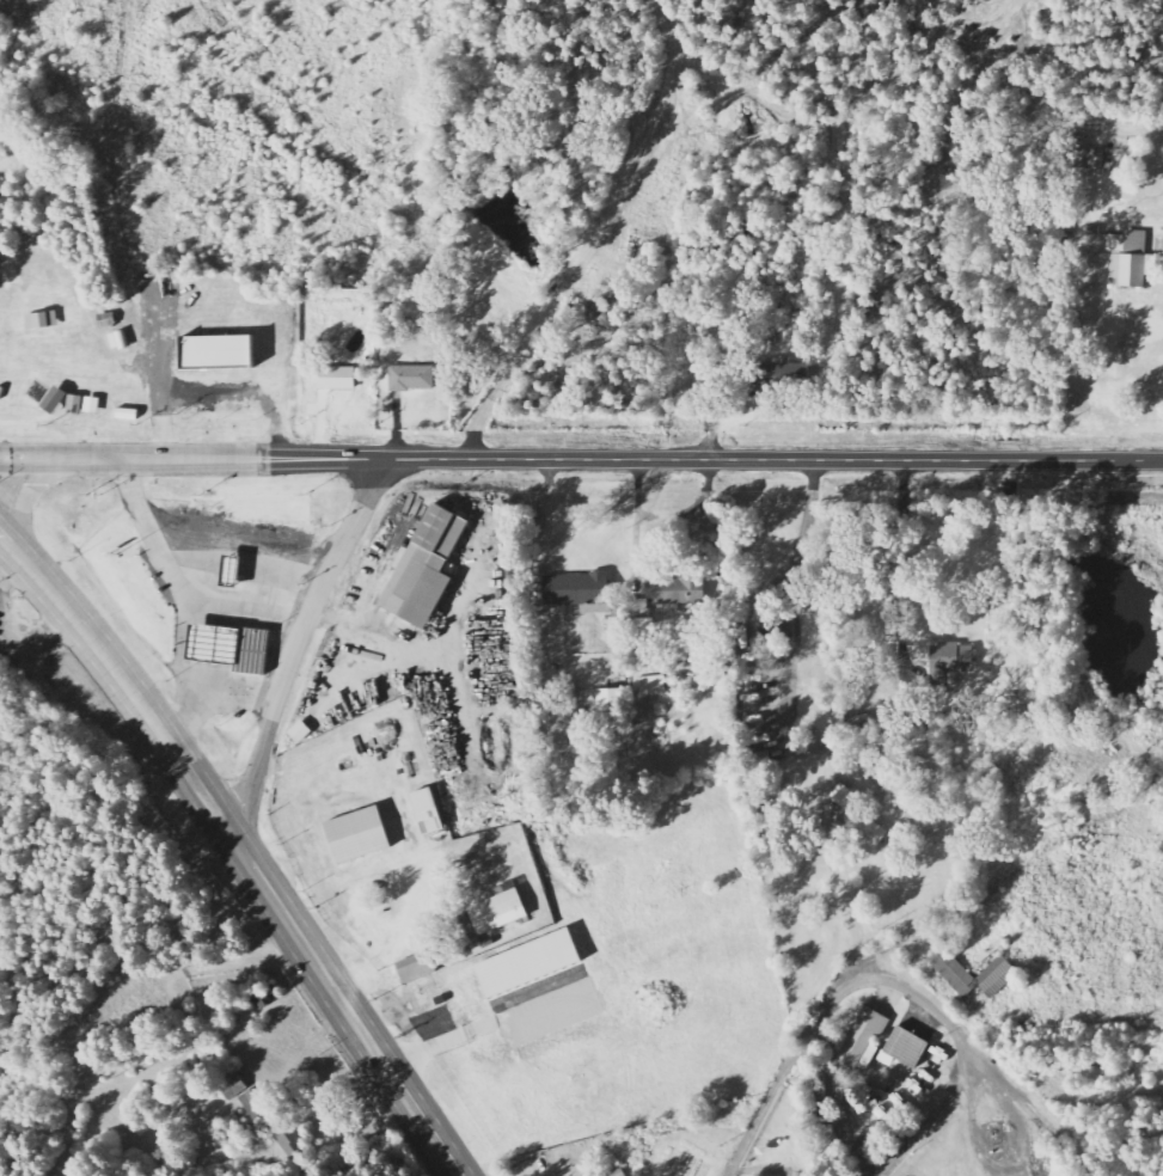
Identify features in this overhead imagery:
building: (1092, 159)
road: (598, 240)
building: (1126, 257)
building: (20, 261)
building: (41, 320)
building: (215, 351)
building: (781, 374)
building: (411, 378)
road: (212, 393)
building: (43, 396)
building: (74, 405)
building: (92, 405)
road: (37, 460)
road: (177, 460)
road: (721, 460)
road: (25, 506)
road: (690, 507)
road: (636, 522)
road: (17, 552)
building: (423, 568)
building: (579, 592)
building: (643, 624)
building: (776, 632)
road: (299, 639)
building: (228, 648)
building: (949, 663)
building: (653, 685)
building: (610, 704)
building: (299, 733)
building: (841, 796)
building: (424, 811)
building: (864, 833)
building: (355, 835)
road: (253, 869)
road: (1014, 874)
building: (485, 919)
road: (396, 938)
building: (526, 963)
building: (948, 967)
building: (415, 968)
building: (265, 996)
road: (118, 998)
building: (863, 1037)
building: (905, 1048)
road: (985, 1062)
road: (789, 1068)
building: (233, 1086)
building: (269, 1115)

